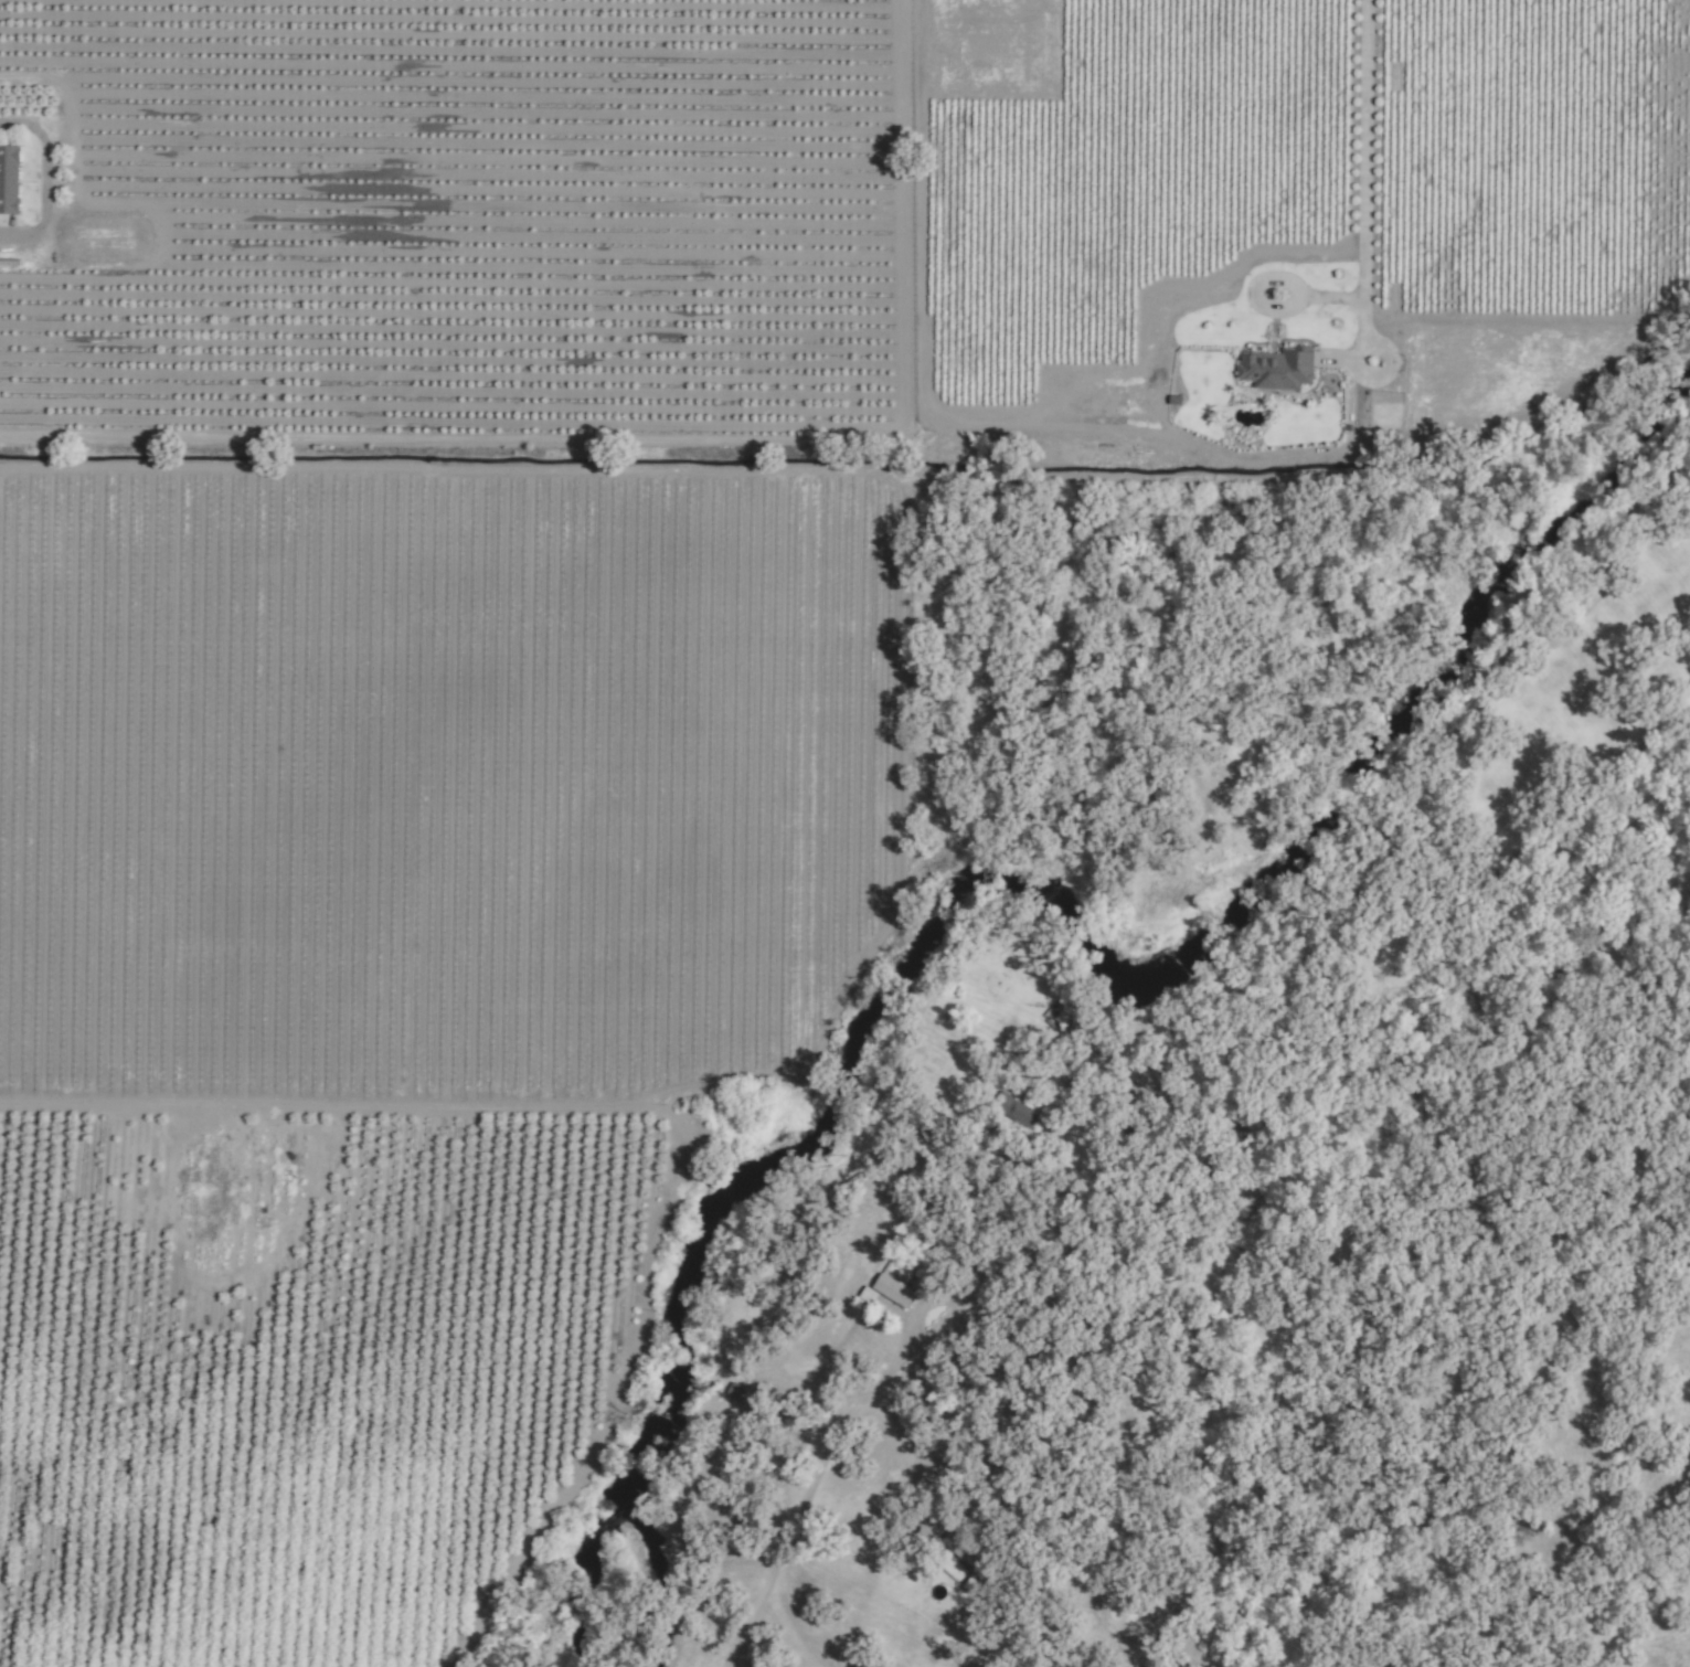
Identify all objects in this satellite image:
road: (1365, 166)
building: (8, 179)
road: (45, 181)
crop: (458, 219)
building: (1276, 369)
building: (892, 1292)
crop: (307, 1365)
building: (737, 1394)
road: (822, 1462)
building: (960, 1548)

